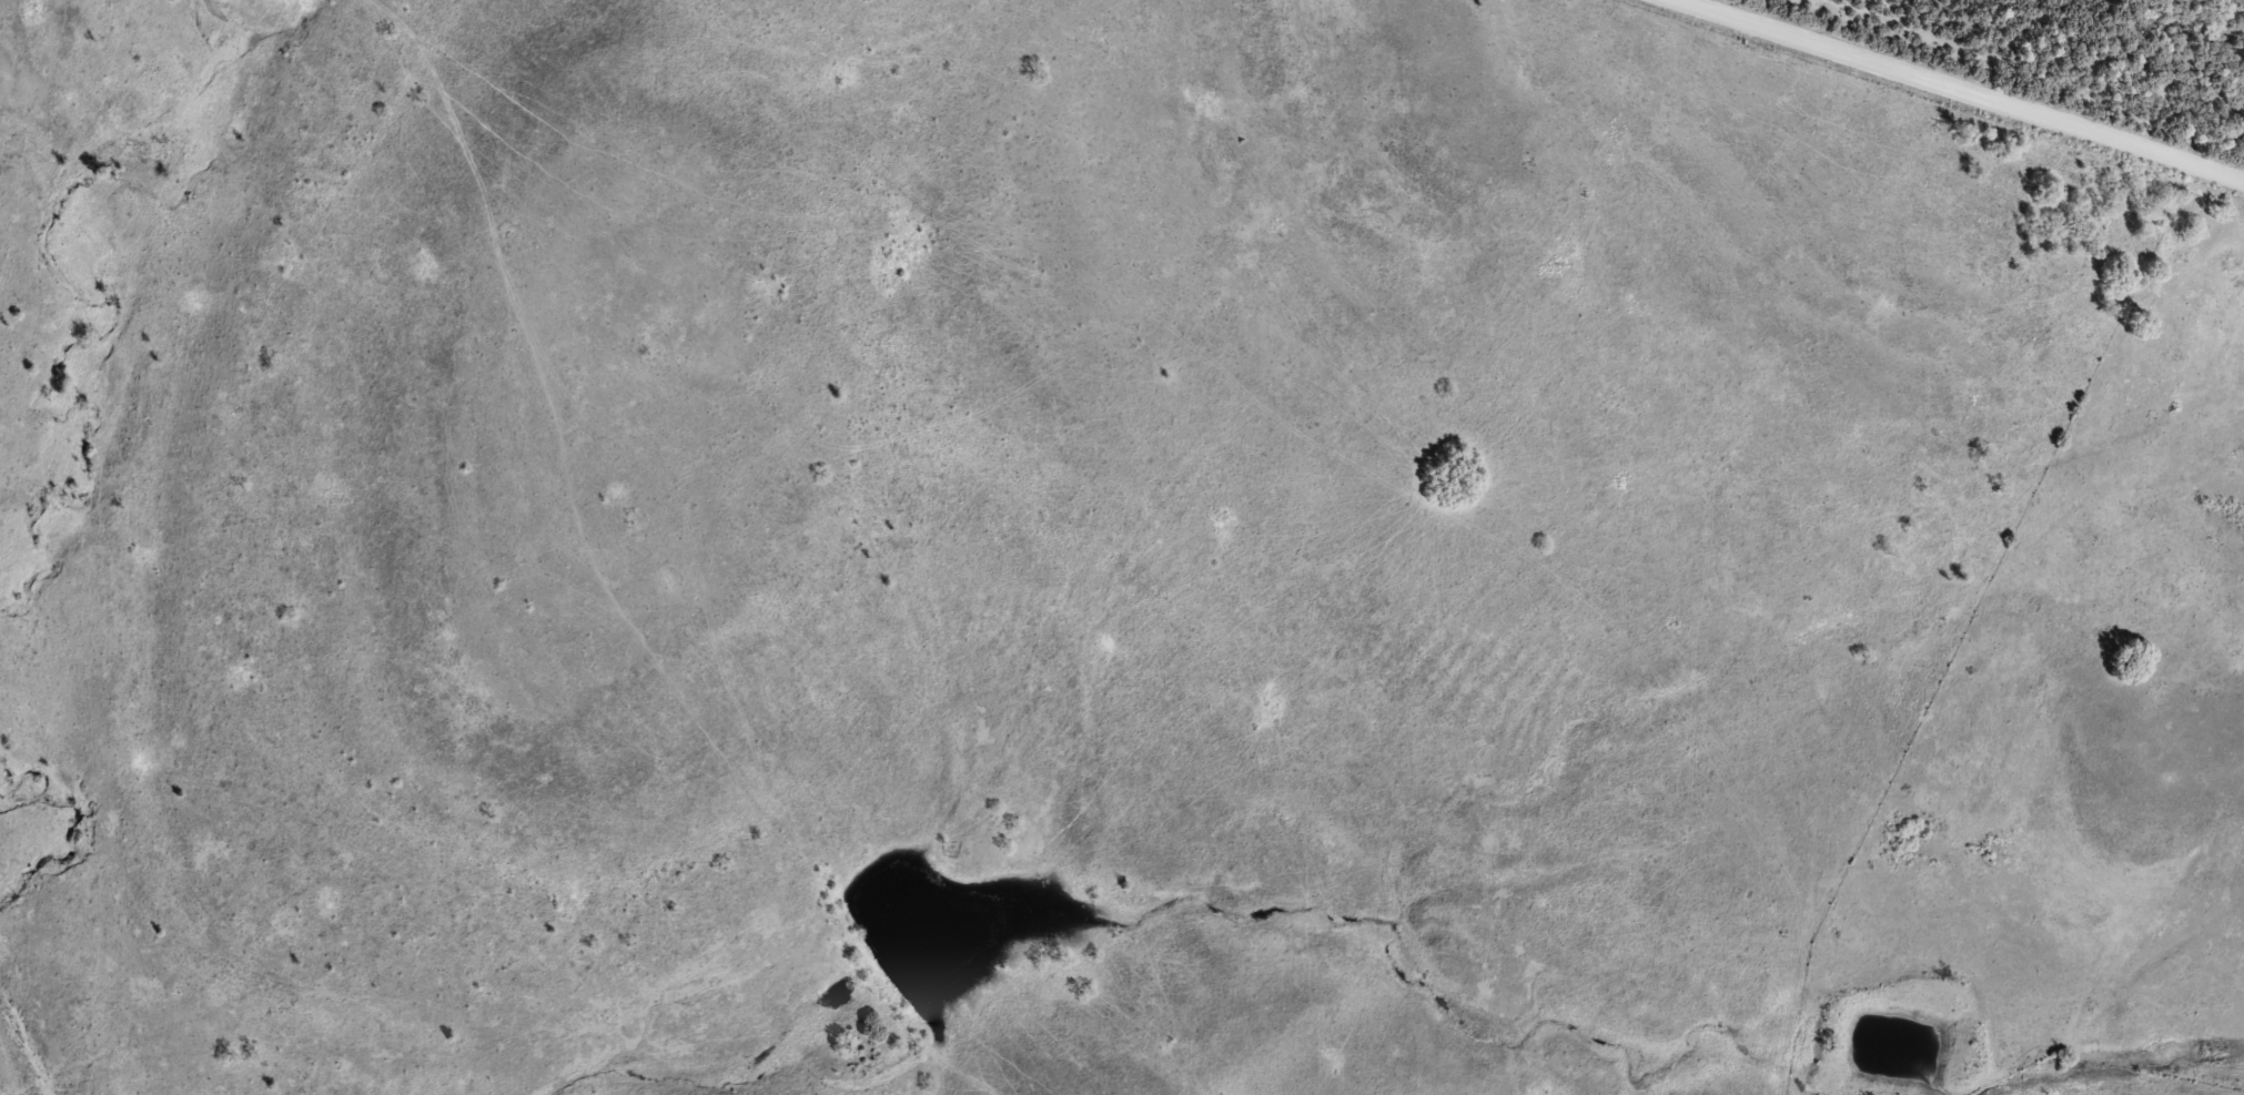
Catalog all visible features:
road: (1968, 87)

